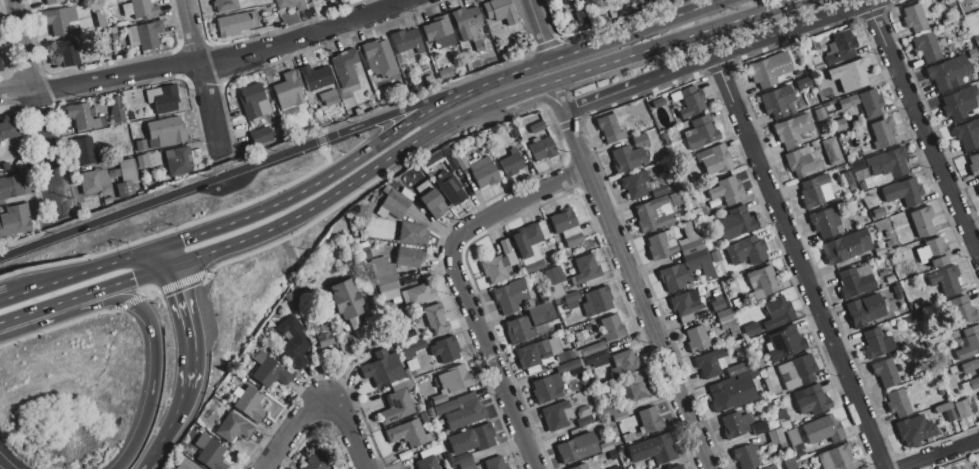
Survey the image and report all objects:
building: (317, 0)
building: (549, 0)
building: (581, 0)
building: (53, 1)
building: (656, 1)
building: (108, 4)
building: (225, 4)
building: (292, 4)
building: (137, 8)
building: (500, 11)
building: (913, 18)
building: (100, 19)
building: (61, 23)
building: (235, 23)
building: (466, 23)
road: (794, 27)
building: (436, 28)
road: (636, 30)
road: (539, 31)
building: (146, 35)
road: (675, 41)
building: (407, 42)
building: (811, 45)
building: (926, 47)
building: (840, 48)
building: (66, 53)
building: (378, 57)
building: (815, 60)
road: (226, 61)
building: (1, 66)
building: (818, 67)
building: (345, 68)
building: (764, 72)
building: (948, 73)
building: (856, 74)
road: (201, 76)
building: (315, 77)
road: (639, 84)
building: (802, 84)
road: (16, 92)
road: (525, 92)
building: (288, 94)
building: (330, 98)
road: (533, 99)
building: (161, 100)
building: (852, 100)
road: (35, 101)
building: (689, 101)
building: (776, 102)
building: (115, 103)
building: (253, 103)
building: (657, 103)
building: (843, 103)
building: (871, 103)
building: (952, 107)
building: (130, 116)
building: (83, 117)
building: (839, 125)
building: (8, 127)
building: (536, 127)
road: (923, 127)
building: (609, 129)
building: (792, 130)
building: (513, 132)
building: (882, 132)
building: (165, 133)
building: (701, 133)
building: (967, 134)
building: (261, 136)
building: (853, 142)
building: (141, 145)
building: (541, 148)
building: (85, 152)
building: (832, 152)
building: (630, 154)
building: (436, 156)
road: (353, 158)
building: (713, 160)
building: (142, 161)
building: (451, 161)
building: (798, 161)
building: (460, 162)
building: (511, 162)
building: (177, 163)
building: (888, 163)
building: (974, 165)
road: (252, 166)
building: (482, 171)
building: (859, 171)
building: (126, 178)
building: (94, 181)
building: (634, 185)
building: (11, 187)
building: (385, 188)
building: (450, 188)
building: (977, 189)
road: (338, 190)
building: (659, 191)
building: (727, 191)
building: (814, 191)
building: (903, 191)
building: (407, 194)
building: (399, 198)
building: (675, 199)
building: (107, 201)
building: (431, 203)
building: (390, 208)
building: (363, 212)
building: (878, 213)
building: (653, 215)
building: (15, 221)
building: (921, 221)
building: (825, 223)
building: (734, 224)
building: (566, 227)
building: (413, 234)
building: (528, 237)
traffic signals: (182, 240)
building: (661, 245)
building: (504, 246)
building: (844, 246)
building: (691, 247)
building: (754, 249)
building: (933, 252)
building: (909, 255)
building: (715, 256)
building: (409, 257)
road: (163, 258)
road: (797, 261)
building: (700, 263)
building: (586, 268)
building: (497, 269)
building: (384, 274)
road: (77, 275)
building: (552, 276)
road: (630, 276)
building: (675, 277)
traffic signals: (133, 279)
building: (764, 280)
building: (945, 280)
road: (118, 283)
building: (854, 283)
road: (460, 285)
traffic signals: (183, 290)
building: (557, 290)
building: (387, 291)
building: (420, 293)
building: (510, 296)
building: (544, 296)
building: (567, 298)
building: (596, 302)
building: (346, 303)
building: (685, 303)
building: (717, 304)
building: (571, 305)
building: (962, 309)
building: (864, 310)
road: (33, 312)
building: (541, 313)
building: (568, 313)
building: (778, 313)
building: (724, 316)
building: (435, 318)
road: (190, 327)
building: (611, 327)
building: (751, 329)
building: (519, 330)
building: (581, 335)
building: (696, 339)
building: (324, 340)
building: (293, 342)
building: (876, 342)
building: (784, 343)
building: (968, 343)
building: (592, 349)
building: (412, 350)
road: (152, 351)
building: (444, 351)
building: (536, 354)
building: (565, 355)
building: (594, 357)
building: (623, 362)
building: (711, 363)
building: (567, 366)
building: (970, 366)
building: (736, 369)
building: (269, 371)
building: (382, 371)
building: (796, 372)
building: (885, 373)
building: (454, 379)
building: (973, 383)
building: (633, 387)
building: (547, 388)
building: (978, 392)
building: (732, 393)
building: (438, 400)
building: (812, 401)
building: (453, 403)
building: (250, 404)
building: (898, 404)
building: (395, 405)
building: (943, 407)
building: (962, 408)
building: (581, 412)
building: (465, 415)
building: (556, 415)
building: (949, 415)
building: (619, 416)
building: (423, 417)
building: (649, 420)
road: (167, 421)
building: (583, 421)
building: (735, 425)
building: (232, 428)
road: (351, 428)
building: (758, 428)
road: (289, 429)
building: (823, 429)
building: (914, 431)
building: (408, 434)
building: (480, 436)
building: (775, 437)
building: (794, 441)
building: (181, 446)
building: (605, 447)
building: (576, 448)
building: (663, 449)
building: (210, 452)
building: (429, 452)
road: (937, 453)
building: (746, 457)
building: (450, 458)
building: (836, 458)
road: (146, 461)
building: (314, 462)
building: (465, 462)
building: (426, 463)
building: (495, 463)
road: (5, 464)
building: (185, 465)
building: (579, 467)
building: (616, 467)
building: (676, 467)
building: (770, 467)
building: (162, 468)

